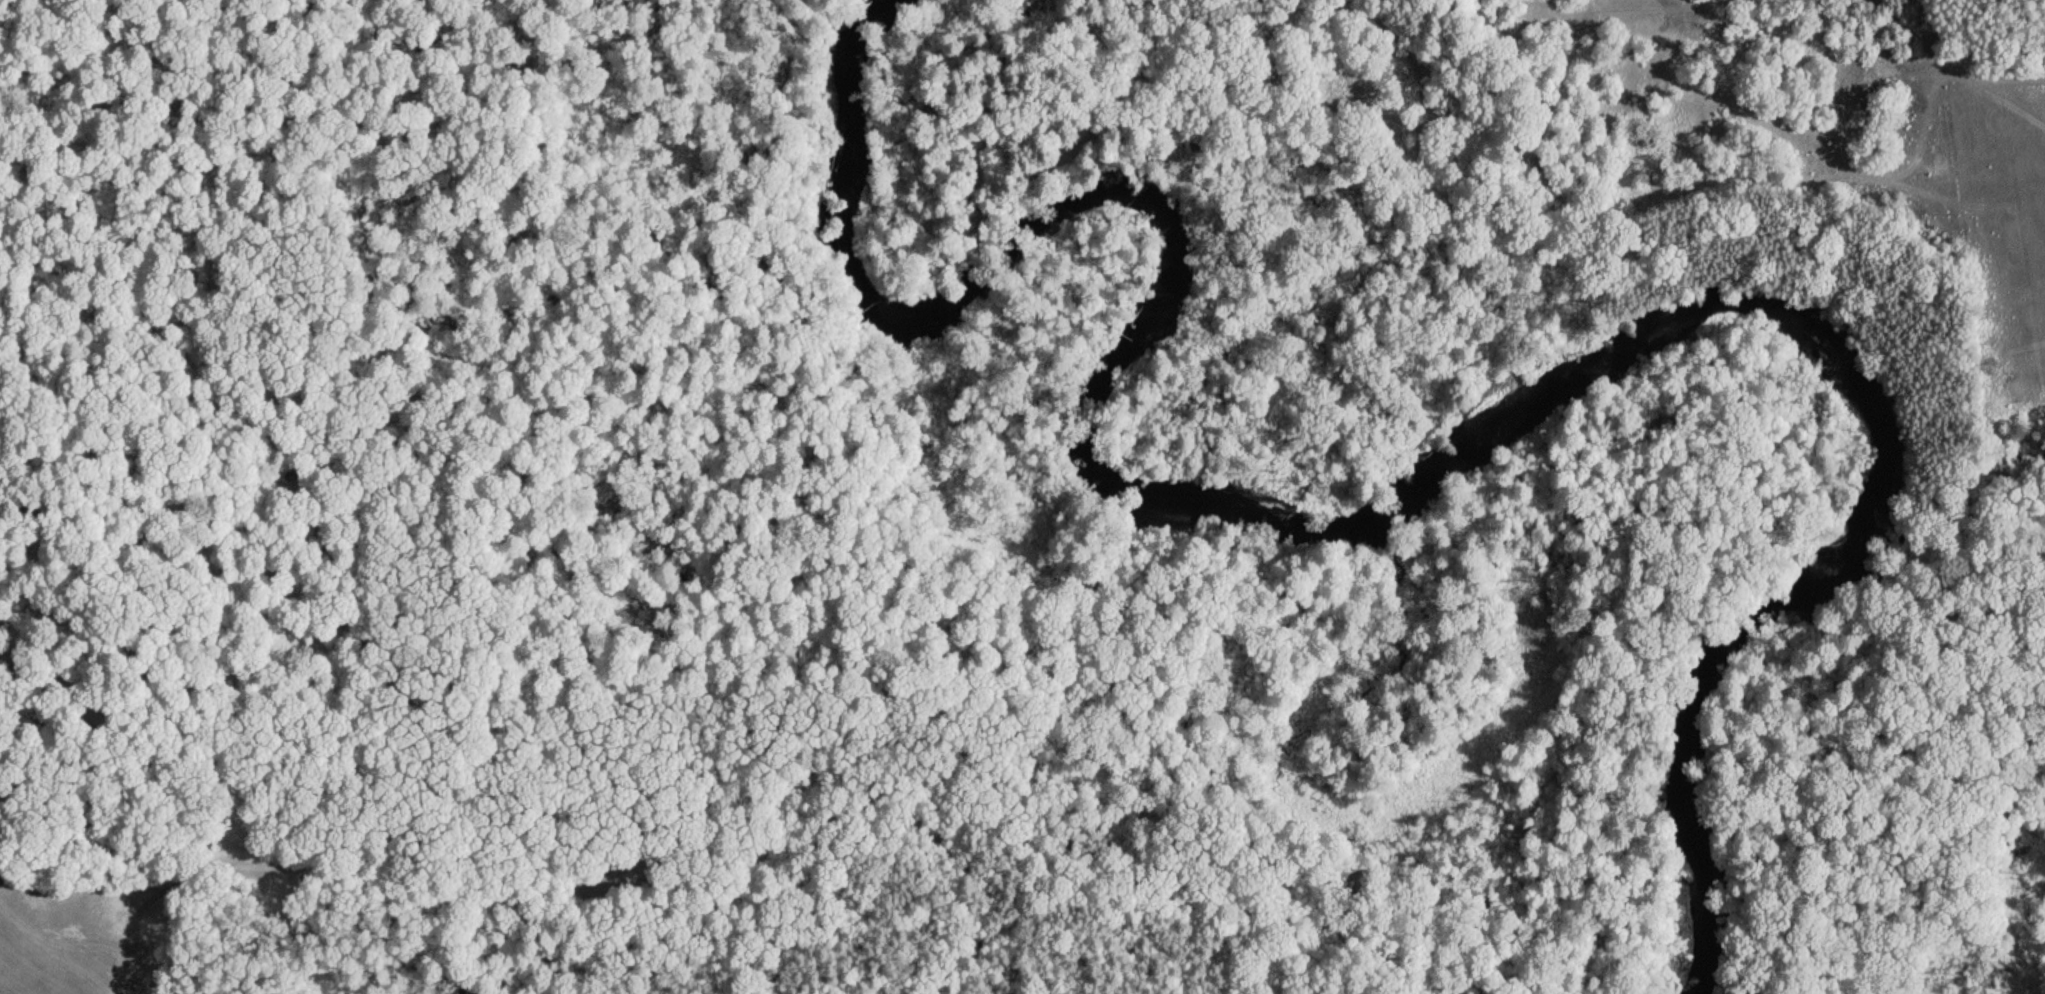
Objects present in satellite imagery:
river: (1380, 516)
crop: (78, 949)

